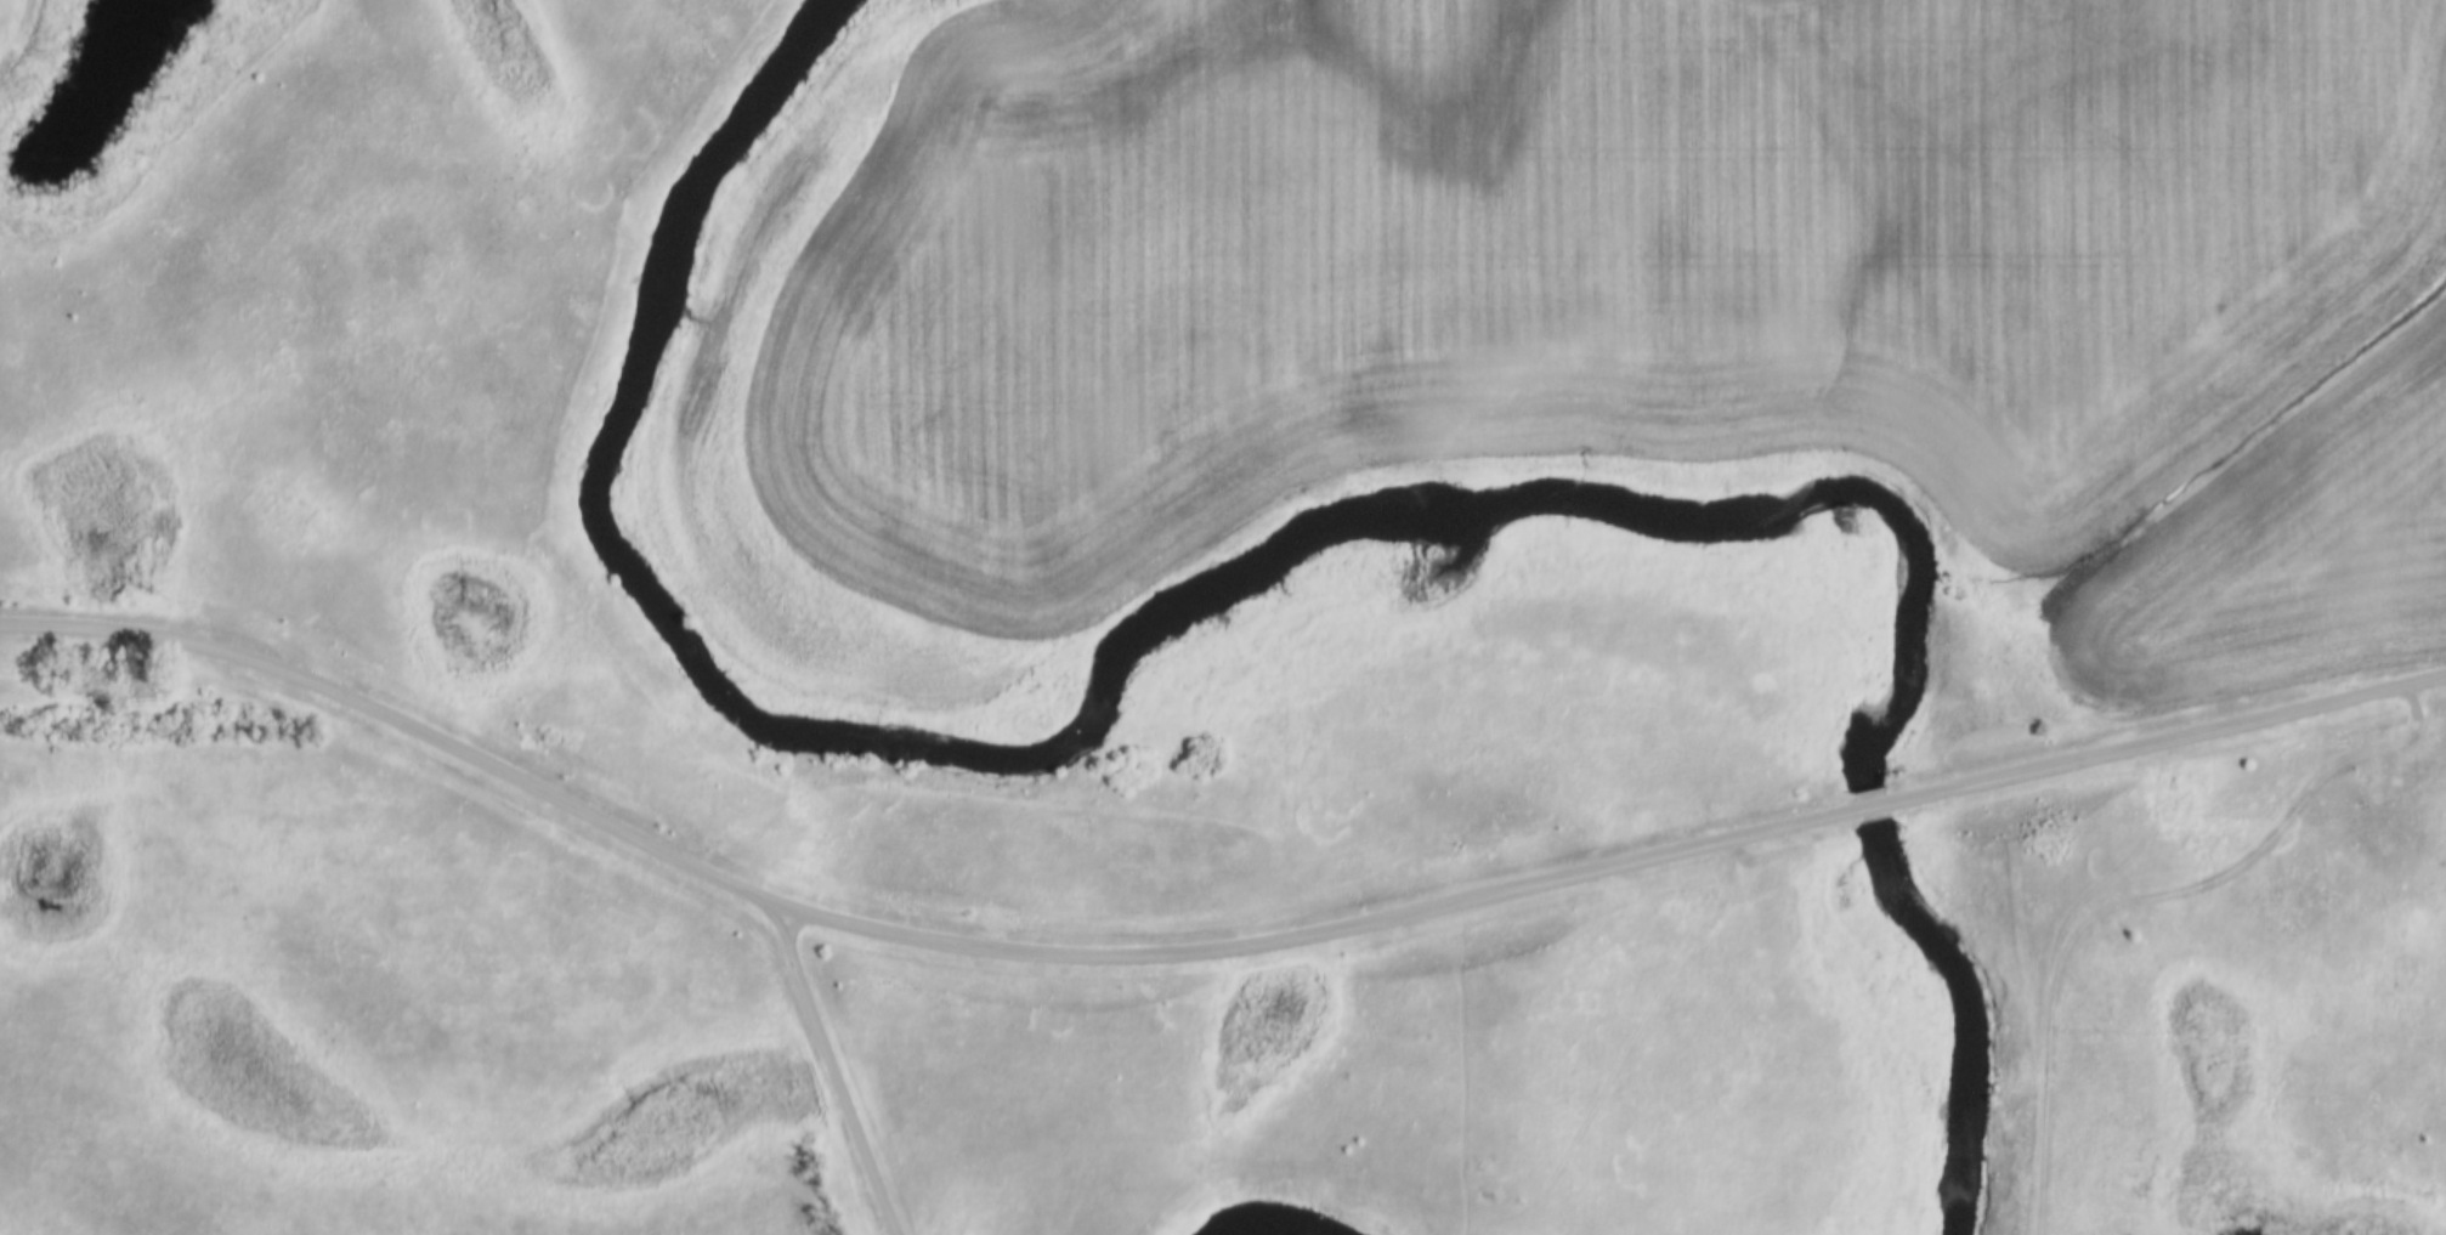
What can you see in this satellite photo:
road: (2163, 747)
river: (1007, 774)
road: (1868, 816)
river: (1906, 937)
road: (904, 944)
road: (831, 1067)

